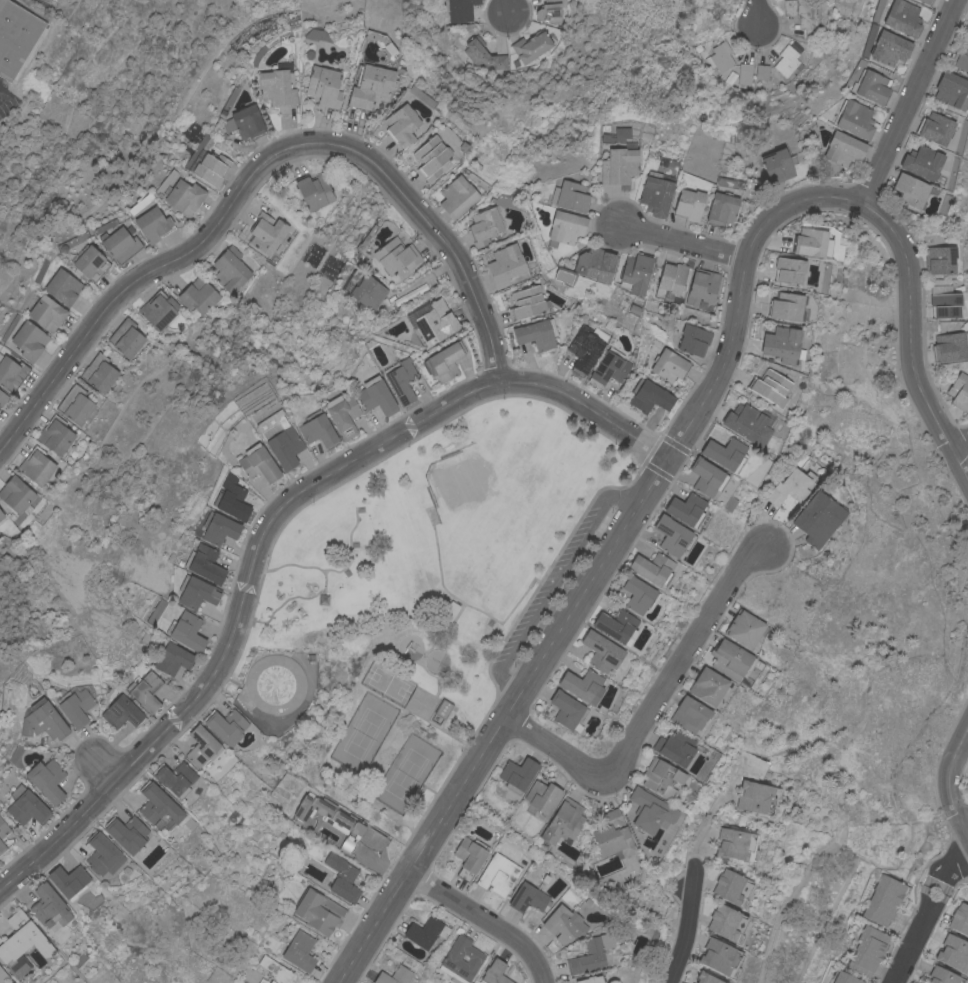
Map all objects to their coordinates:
building: (922, 1)
building: (927, 1)
building: (554, 3)
road: (508, 7)
building: (460, 10)
road: (757, 14)
building: (711, 16)
building: (803, 16)
building: (902, 17)
building: (16, 36)
building: (531, 46)
building: (889, 47)
building: (474, 49)
building: (720, 57)
building: (962, 59)
building: (501, 61)
building: (787, 61)
building: (762, 72)
building: (744, 73)
building: (324, 86)
building: (871, 86)
building: (276, 87)
building: (371, 87)
building: (952, 90)
road: (904, 104)
building: (855, 119)
building: (247, 122)
building: (400, 125)
building: (935, 128)
building: (618, 135)
building: (843, 149)
building: (430, 157)
building: (923, 163)
road: (256, 164)
building: (617, 165)
building: (777, 165)
building: (210, 168)
building: (910, 190)
building: (314, 191)
building: (655, 193)
building: (456, 196)
building: (569, 196)
road: (833, 196)
building: (184, 197)
building: (688, 204)
building: (720, 209)
building: (152, 224)
building: (484, 226)
building: (565, 227)
building: (267, 233)
building: (809, 242)
road: (678, 243)
building: (120, 245)
building: (395, 255)
building: (939, 259)
building: (91, 264)
building: (506, 266)
building: (589, 266)
building: (231, 268)
building: (788, 270)
building: (635, 273)
building: (670, 279)
building: (701, 286)
building: (62, 287)
building: (366, 292)
building: (198, 296)
building: (526, 302)
building: (944, 302)
building: (785, 306)
building: (158, 310)
building: (46, 313)
building: (435, 322)
building: (536, 334)
building: (126, 338)
building: (28, 340)
building: (693, 340)
building: (780, 344)
building: (948, 347)
building: (583, 349)
building: (446, 360)
building: (668, 365)
building: (608, 367)
building: (11, 373)
building: (99, 373)
building: (401, 381)
building: (769, 388)
building: (959, 392)
building: (375, 396)
building: (648, 396)
building: (2, 398)
building: (75, 404)
building: (342, 414)
building: (746, 424)
building: (317, 429)
building: (55, 435)
building: (279, 439)
road: (961, 447)
building: (724, 453)
building: (258, 464)
building: (36, 466)
building: (705, 477)
building: (789, 486)
building: (16, 494)
building: (231, 498)
park: (496, 503)
building: (685, 509)
building: (44, 512)
building: (1, 515)
building: (816, 518)
road: (267, 526)
building: (218, 528)
building: (672, 536)
building: (204, 563)
building: (652, 568)
road: (553, 585)
parking lot: (553, 586)
building: (196, 592)
building: (637, 593)
park: (420, 602)
road: (280, 607)
building: (446, 609)
building: (616, 626)
building: (743, 628)
building: (186, 631)
building: (601, 651)
building: (171, 658)
building: (731, 659)
building: (274, 684)
storage tank: (274, 684)
park: (387, 685)
building: (582, 685)
building: (707, 686)
building: (146, 691)
building: (75, 706)
building: (442, 708)
road: (651, 709)
building: (120, 711)
building: (567, 711)
building: (688, 714)
building: (43, 721)
road: (505, 722)
building: (226, 726)
park: (361, 735)
building: (202, 747)
building: (674, 747)
building: (517, 774)
park: (405, 775)
building: (174, 777)
building: (661, 778)
building: (46, 780)
road: (945, 782)
building: (541, 797)
building: (754, 797)
building: (26, 806)
building: (158, 807)
building: (649, 811)
building: (331, 818)
building: (562, 822)
building: (3, 829)
building: (126, 833)
building: (612, 835)
building: (374, 840)
building: (733, 843)
building: (2, 848)
building: (102, 854)
building: (469, 856)
building: (498, 874)
building: (341, 878)
building: (69, 881)
building: (730, 886)
building: (527, 898)
building: (885, 900)
building: (47, 906)
building: (318, 912)
road: (926, 912)
road: (485, 919)
building: (959, 919)
building: (725, 922)
building: (563, 924)
road: (687, 926)
building: (426, 932)
building: (0, 940)
building: (21, 944)
building: (299, 951)
building: (867, 951)
building: (953, 953)
building: (590, 954)
building: (717, 956)
building: (460, 959)
building: (275, 970)
building: (494, 973)
building: (2, 976)
building: (394, 976)
building: (943, 976)
building: (704, 978)
building: (845, 978)
building: (590, 979)
building: (263, 981)
building: (925, 982)

